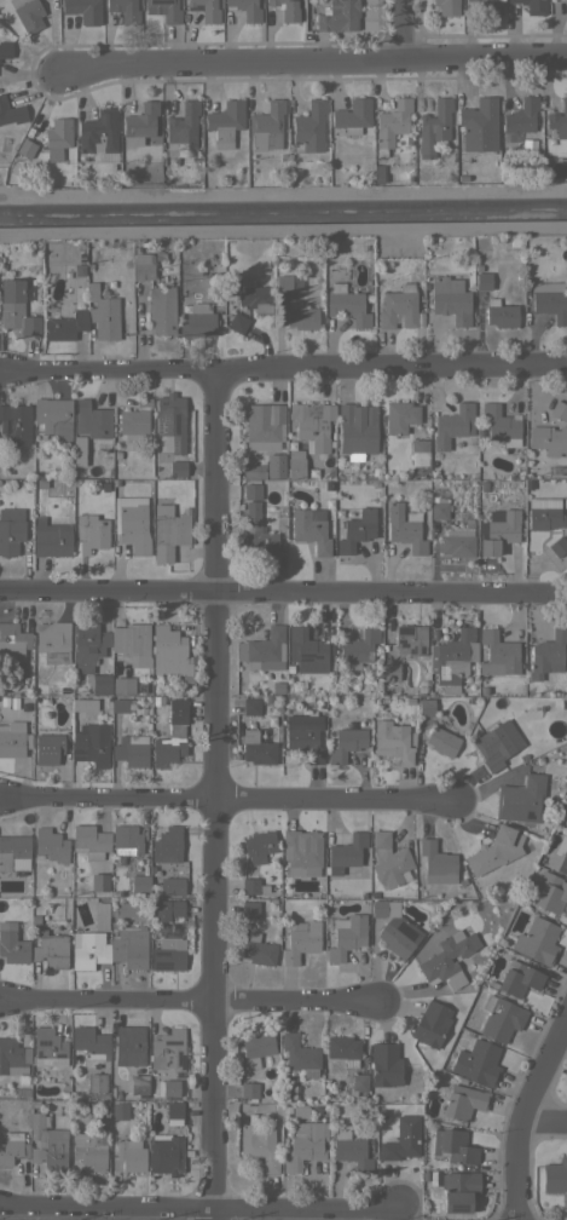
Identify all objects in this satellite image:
building: (532, 6)
building: (566, 6)
building: (446, 7)
building: (491, 7)
building: (245, 8)
building: (285, 8)
building: (82, 10)
building: (123, 10)
building: (163, 10)
building: (207, 10)
building: (29, 15)
building: (337, 16)
building: (266, 17)
road: (397, 31)
building: (5, 48)
road: (320, 65)
building: (11, 111)
building: (352, 115)
building: (521, 115)
building: (140, 120)
building: (559, 120)
building: (225, 122)
building: (390, 125)
building: (266, 126)
building: (433, 126)
building: (478, 126)
building: (308, 127)
building: (183, 130)
building: (58, 132)
building: (98, 134)
building: (509, 137)
building: (407, 139)
building: (25, 148)
building: (461, 178)
building: (143, 265)
building: (482, 281)
building: (283, 283)
building: (254, 295)
building: (450, 299)
building: (549, 300)
building: (347, 305)
building: (398, 306)
building: (16, 307)
building: (161, 309)
building: (103, 313)
building: (501, 313)
building: (301, 316)
building: (197, 321)
building: (237, 323)
building: (65, 326)
road: (277, 366)
building: (559, 410)
building: (326, 412)
building: (400, 416)
building: (53, 418)
building: (94, 419)
building: (134, 420)
building: (170, 420)
building: (15, 424)
building: (501, 424)
building: (453, 425)
building: (262, 426)
building: (309, 427)
building: (357, 427)
building: (548, 439)
building: (420, 451)
building: (359, 456)
building: (295, 462)
building: (274, 465)
building: (177, 468)
building: (254, 471)
building: (251, 491)
building: (439, 511)
building: (544, 518)
building: (132, 523)
building: (404, 528)
building: (11, 529)
building: (309, 529)
building: (168, 530)
building: (355, 530)
building: (498, 530)
building: (256, 533)
building: (93, 534)
building: (51, 539)
building: (457, 541)
building: (557, 546)
road: (274, 593)
building: (131, 639)
building: (410, 639)
building: (12, 640)
building: (53, 641)
building: (88, 643)
building: (305, 645)
building: (262, 648)
building: (358, 648)
building: (168, 651)
building: (498, 654)
building: (548, 654)
building: (452, 656)
building: (268, 664)
building: (390, 671)
building: (100, 684)
building: (122, 685)
building: (470, 689)
building: (120, 704)
building: (250, 706)
building: (426, 707)
building: (303, 735)
building: (169, 736)
building: (13, 738)
building: (441, 738)
building: (392, 741)
building: (93, 743)
building: (346, 743)
building: (497, 744)
building: (48, 748)
building: (256, 749)
building: (131, 750)
road: (213, 793)
building: (521, 799)
road: (225, 801)
building: (126, 840)
building: (89, 841)
building: (50, 845)
building: (167, 845)
building: (259, 846)
building: (494, 850)
building: (13, 852)
building: (301, 852)
building: (345, 852)
building: (559, 856)
building: (388, 861)
building: (436, 863)
building: (99, 882)
building: (139, 884)
building: (170, 886)
building: (249, 886)
building: (550, 892)
building: (125, 908)
building: (167, 908)
building: (250, 909)
building: (100, 915)
building: (394, 928)
building: (346, 936)
building: (537, 940)
building: (301, 942)
building: (12, 944)
building: (129, 946)
building: (88, 949)
building: (51, 950)
building: (258, 950)
building: (168, 954)
building: (447, 959)
building: (519, 979)
road: (192, 1001)
building: (501, 1018)
building: (430, 1024)
building: (91, 1045)
building: (129, 1045)
building: (48, 1047)
building: (256, 1048)
building: (168, 1049)
building: (342, 1049)
building: (12, 1057)
building: (299, 1057)
building: (478, 1061)
building: (384, 1064)
building: (358, 1082)
building: (97, 1083)
building: (138, 1083)
building: (168, 1088)
building: (249, 1089)
building: (463, 1101)
building: (300, 1110)
building: (118, 1111)
building: (173, 1112)
road: (520, 1113)
road: (540, 1124)
building: (401, 1139)
building: (47, 1143)
building: (303, 1144)
building: (258, 1145)
building: (453, 1146)
building: (12, 1147)
building: (89, 1150)
building: (352, 1152)
building: (166, 1153)
building: (131, 1155)
building: (555, 1176)
building: (457, 1190)
road: (201, 1205)

